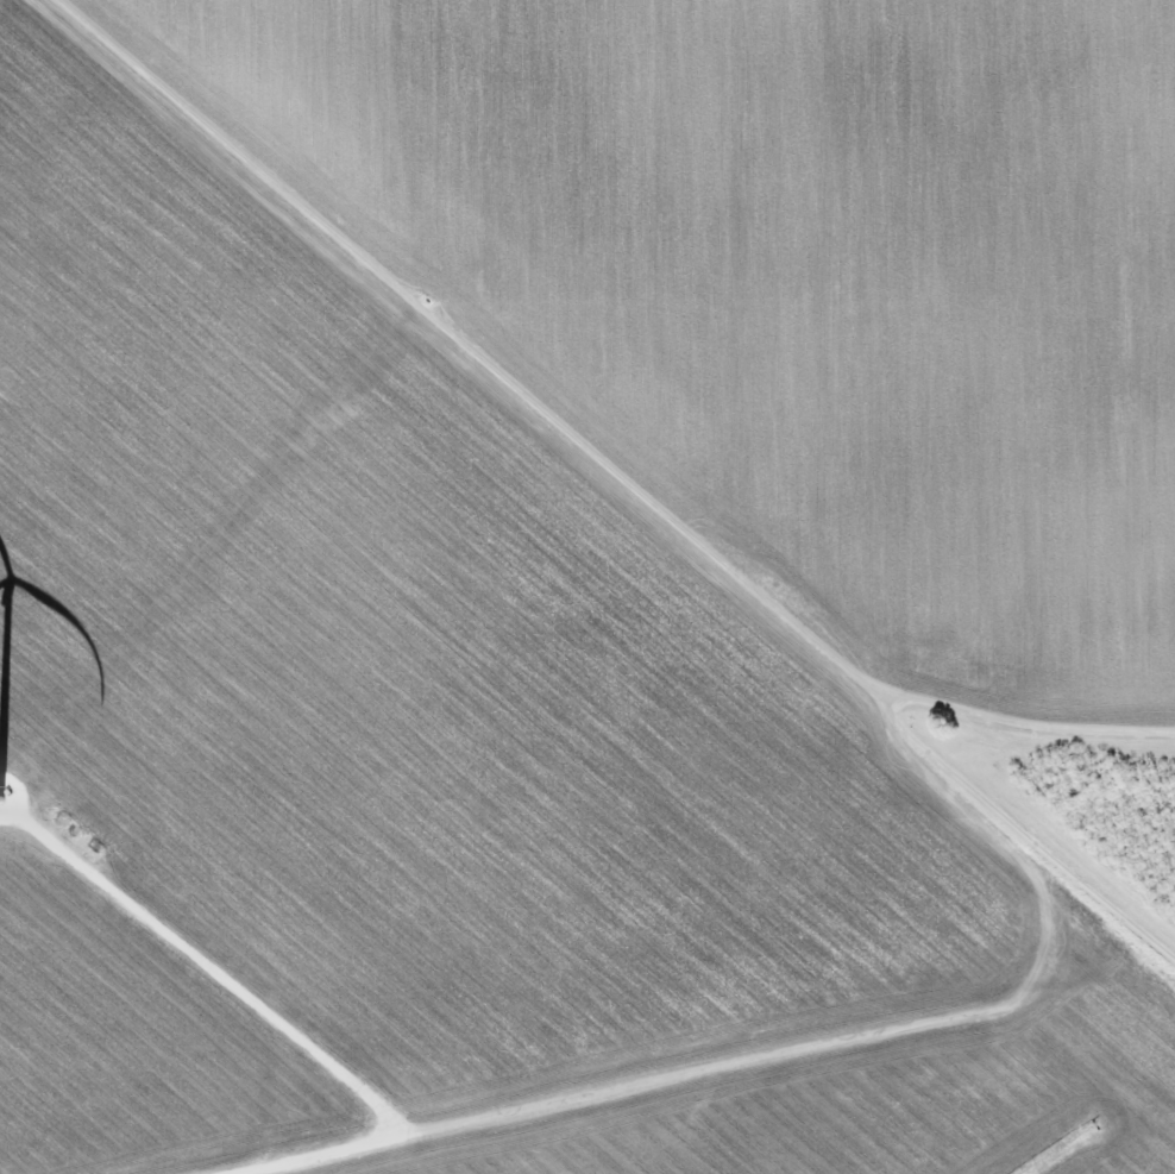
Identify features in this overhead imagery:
road: (238, 287)

